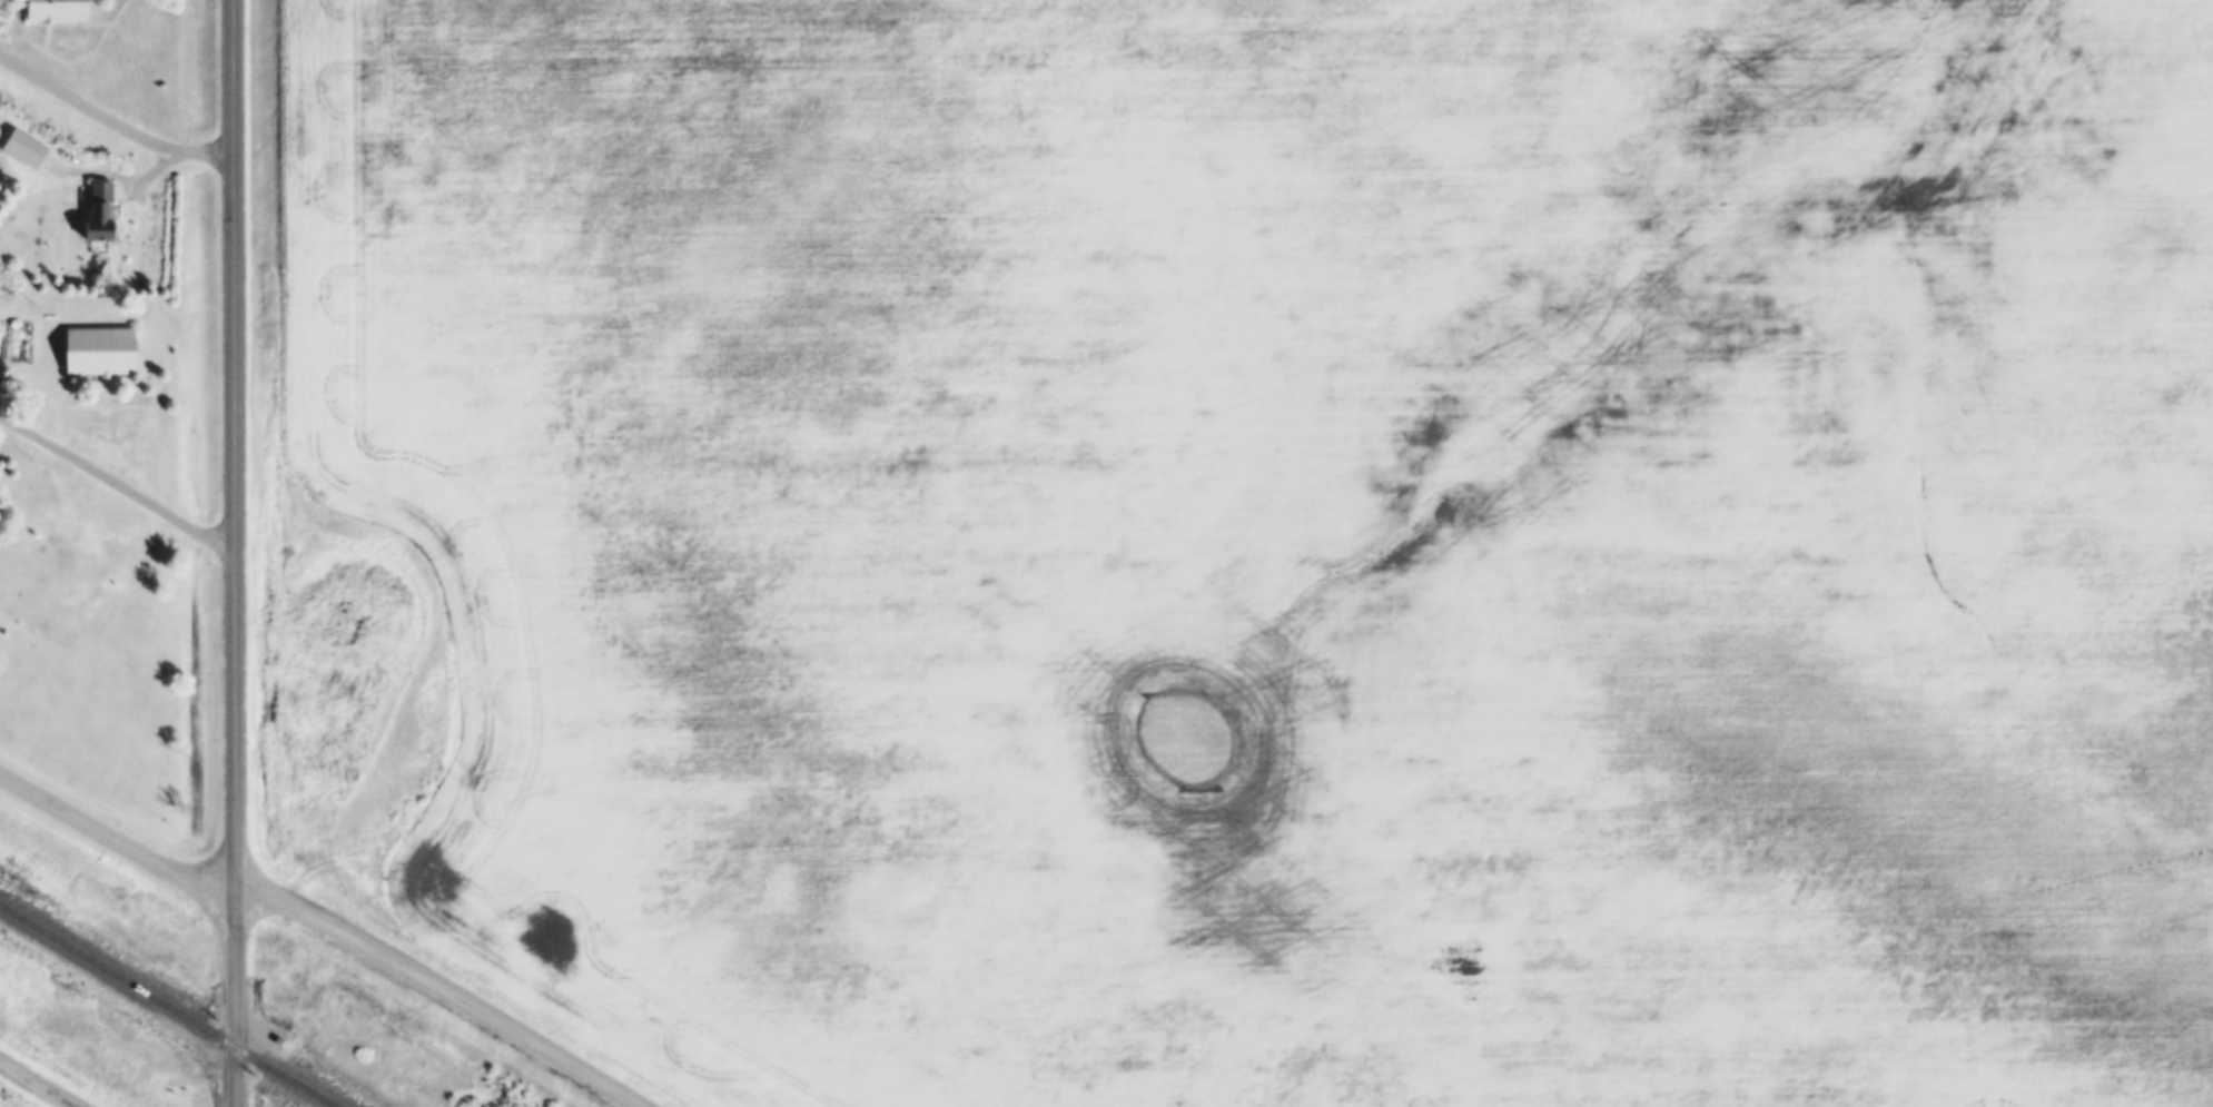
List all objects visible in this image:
building: (52, 7)
road: (108, 116)
building: (22, 142)
building: (98, 207)
building: (6, 276)
building: (95, 346)
road: (113, 475)
road: (227, 553)
road: (116, 831)
road: (448, 985)
railway: (169, 1005)
road: (39, 1081)

